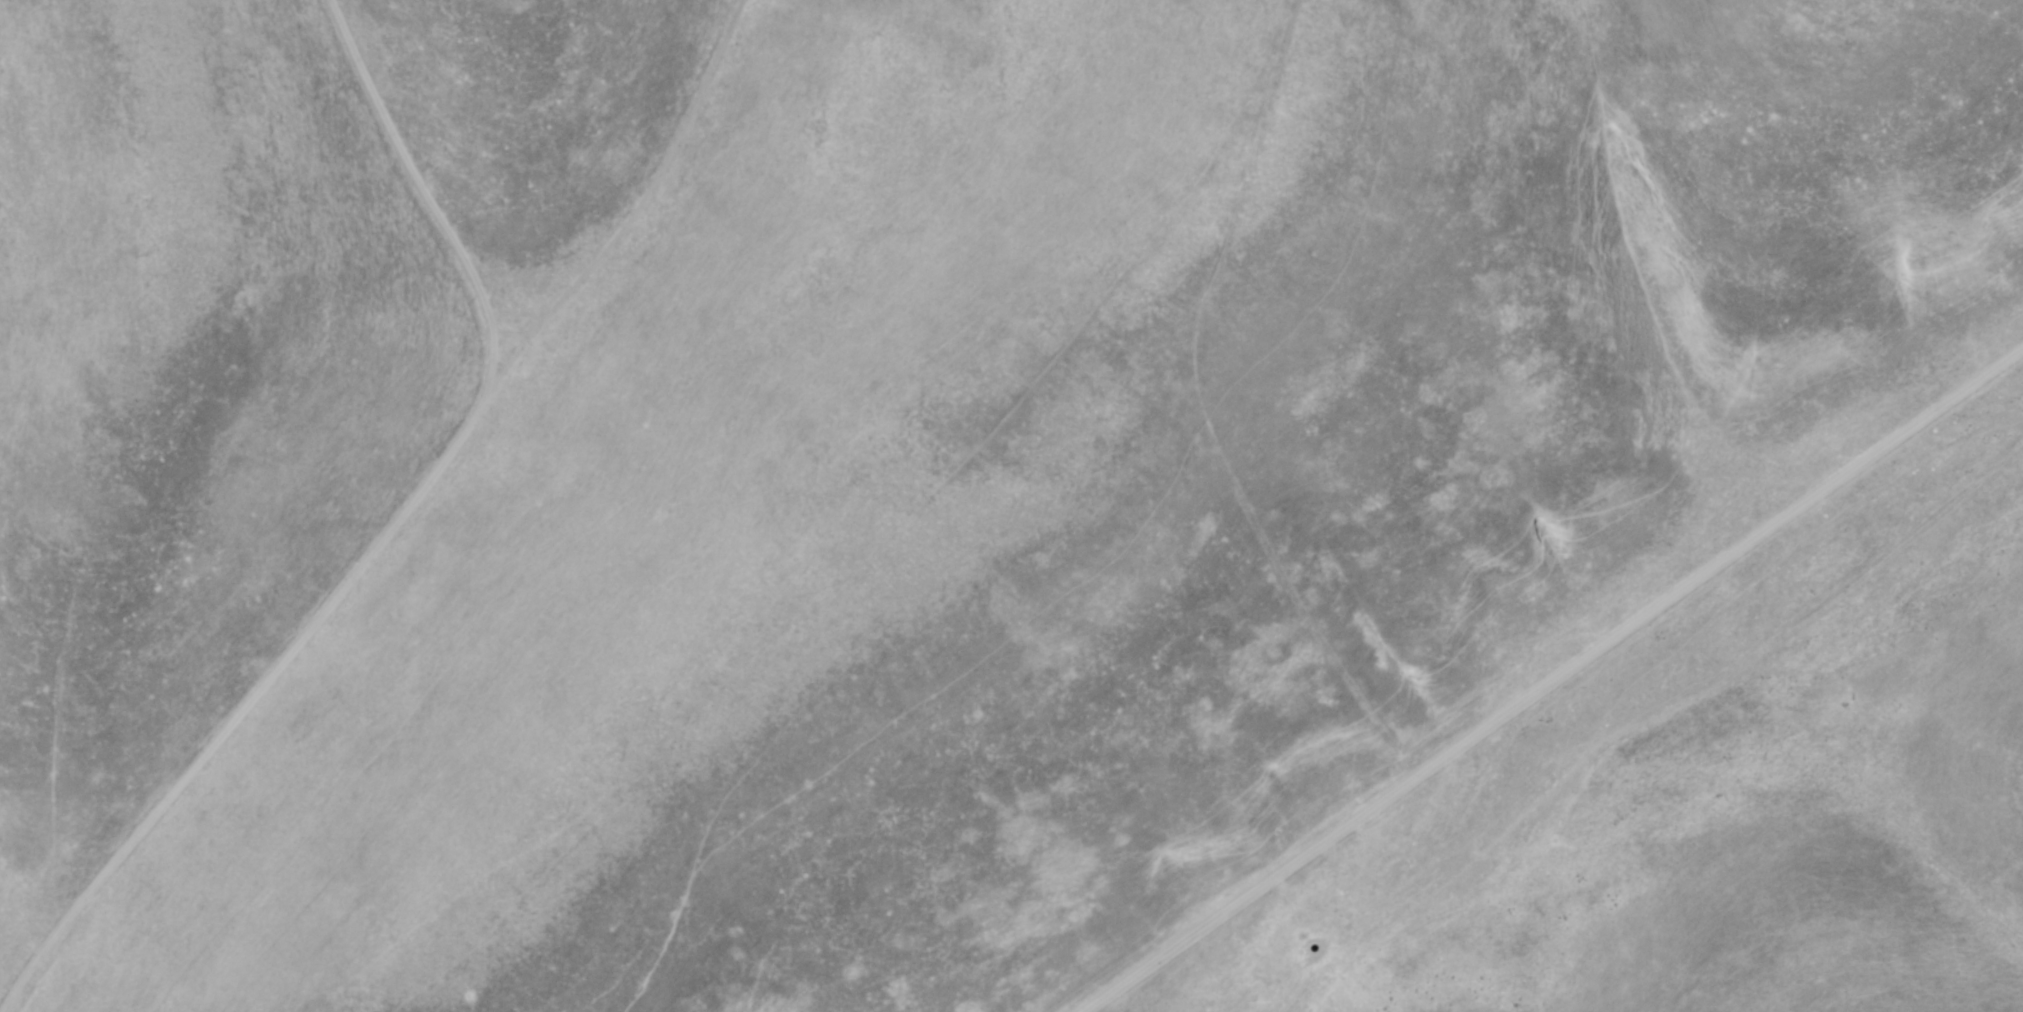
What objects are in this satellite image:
road: (449, 543)
road: (1551, 678)
road: (1247, 1003)

